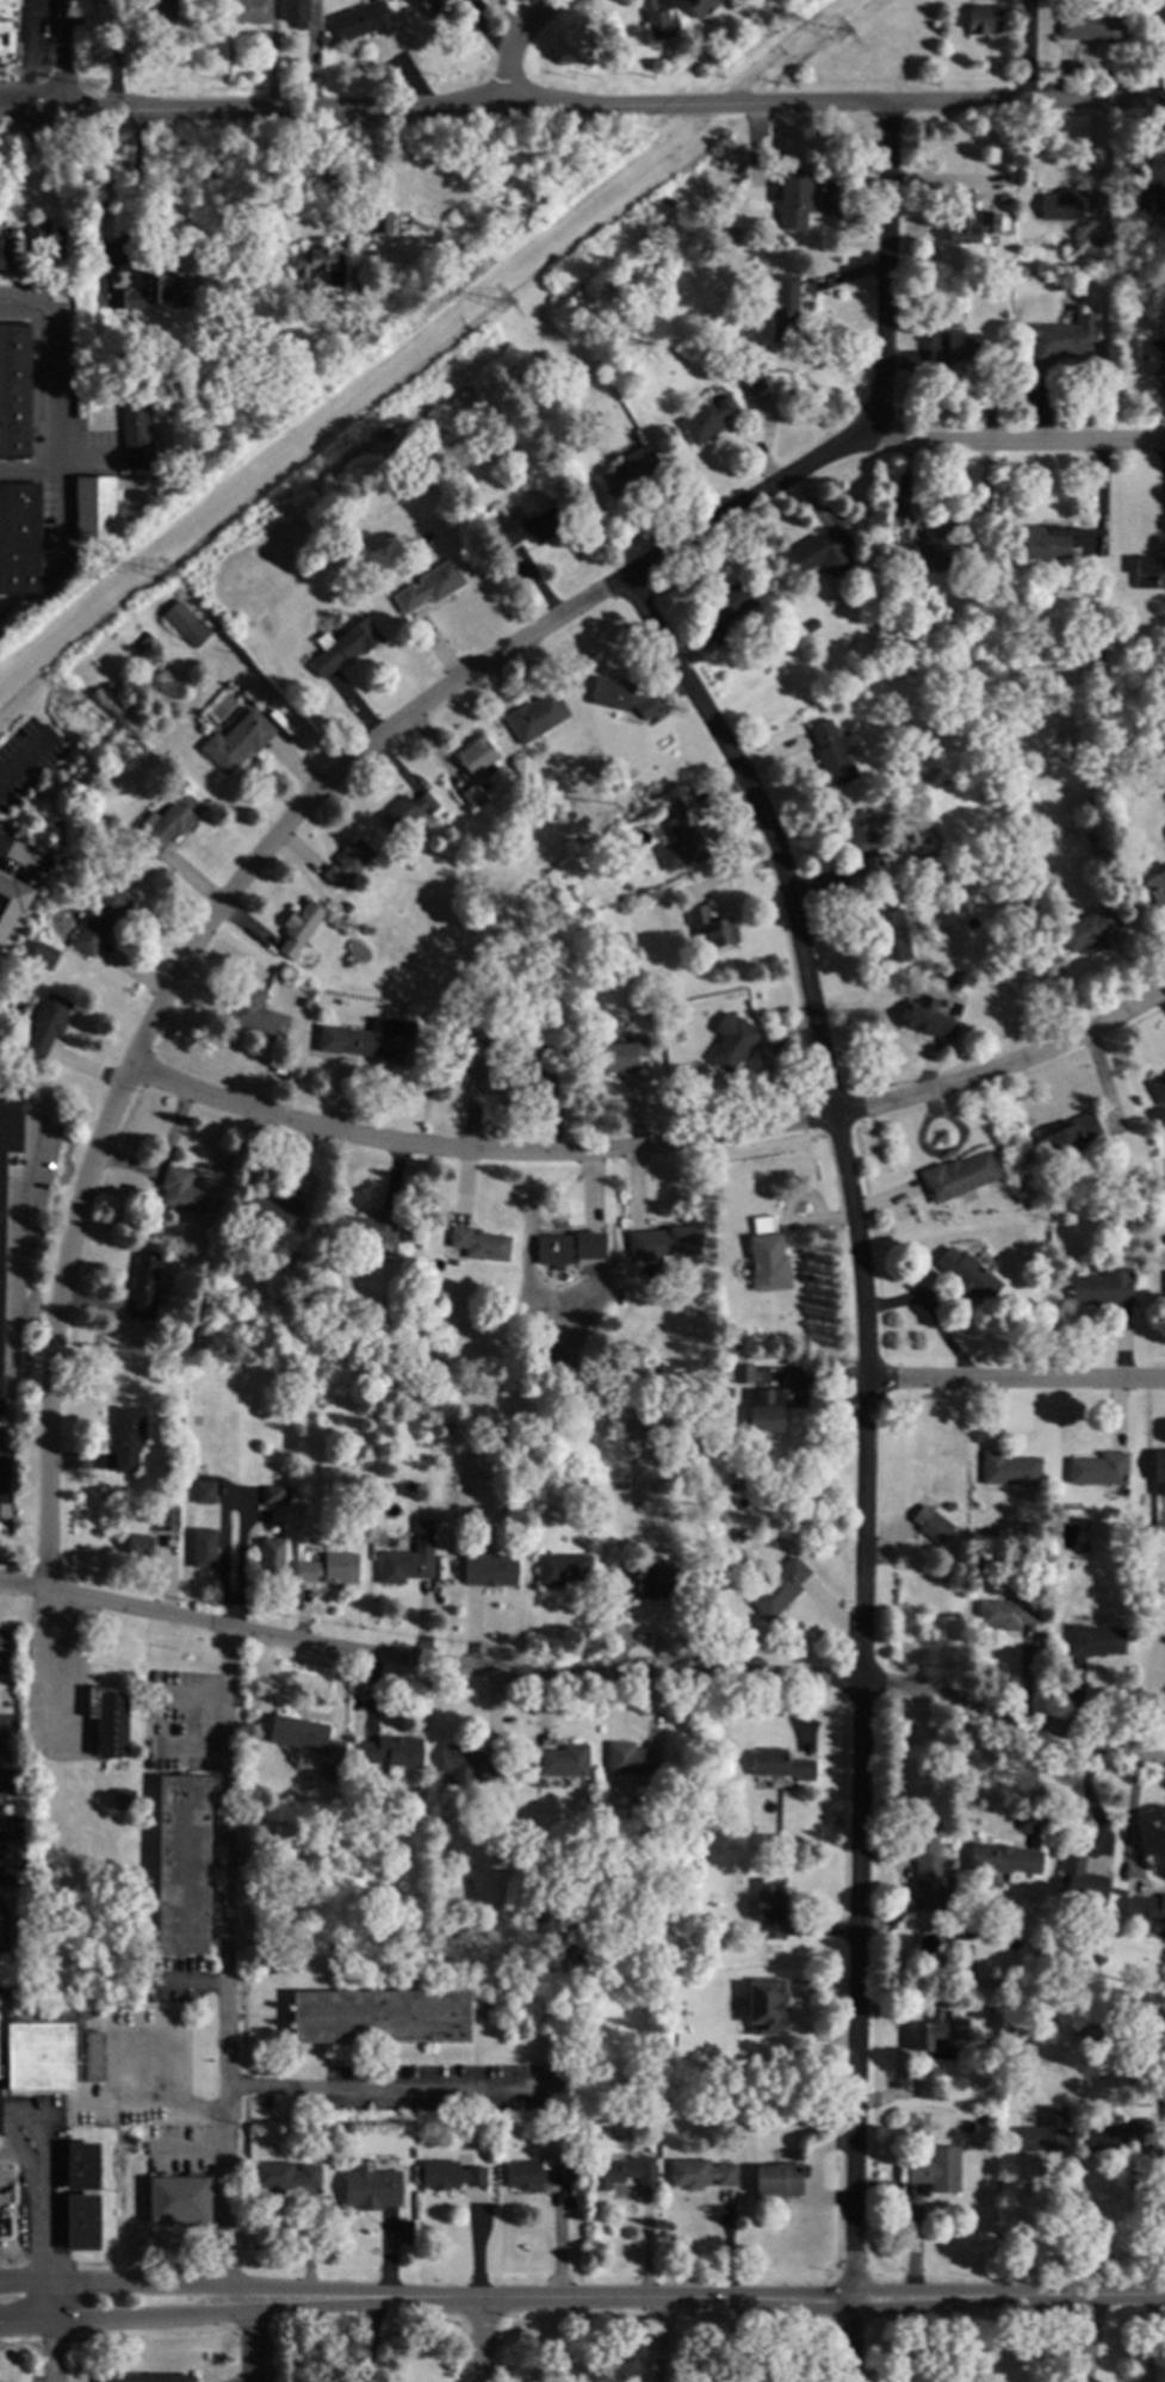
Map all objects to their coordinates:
building: (698, 6)
building: (429, 7)
building: (159, 11)
building: (250, 11)
building: (296, 12)
building: (1160, 16)
building: (656, 18)
building: (984, 18)
building: (360, 20)
building: (1087, 24)
building: (7, 26)
power tower: (842, 29)
road: (510, 42)
road: (1027, 50)
road: (58, 55)
road: (582, 103)
road: (374, 166)
building: (1003, 197)
building: (794, 198)
building: (1148, 198)
road: (129, 199)
building: (1068, 204)
building: (382, 221)
building: (969, 221)
building: (646, 234)
building: (49, 239)
building: (1096, 242)
building: (5, 264)
building: (320, 264)
road: (884, 266)
building: (972, 286)
building: (148, 290)
power tower: (508, 303)
building: (785, 309)
building: (1062, 338)
building: (950, 347)
building: (1151, 357)
building: (95, 369)
building: (751, 380)
building: (14, 390)
road: (62, 404)
building: (707, 420)
building: (136, 432)
building: (385, 434)
road: (1010, 441)
road: (1164, 453)
road: (55, 465)
building: (631, 465)
building: (888, 466)
road: (900, 477)
road: (812, 497)
road: (1101, 499)
building: (497, 507)
building: (93, 508)
road: (978, 511)
building: (124, 518)
building: (528, 526)
building: (19, 538)
building: (1048, 540)
building: (931, 550)
building: (820, 552)
building: (1149, 571)
power tower: (172, 574)
building: (429, 586)
building: (727, 608)
building: (178, 611)
building: (234, 625)
building: (810, 625)
building: (194, 631)
building: (342, 645)
building: (1097, 646)
building: (899, 651)
building: (1161, 663)
building: (620, 695)
road: (439, 698)
building: (535, 716)
building: (236, 741)
building: (831, 754)
road: (17, 756)
building: (478, 756)
building: (686, 788)
building: (473, 794)
building: (1090, 802)
building: (407, 810)
building: (611, 818)
building: (110, 821)
building: (167, 823)
building: (58, 828)
building: (614, 836)
building: (1092, 836)
building: (680, 839)
building: (865, 841)
building: (348, 861)
building: (1155, 886)
building: (11, 901)
building: (101, 921)
building: (334, 921)
building: (711, 926)
building: (299, 927)
building: (1087, 927)
building: (890, 932)
building: (42, 955)
building: (585, 975)
building: (946, 1002)
building: (531, 1003)
building: (956, 1008)
building: (258, 1013)
building: (924, 1016)
building: (47, 1023)
building: (376, 1039)
building: (481, 1041)
building: (733, 1044)
building: (624, 1053)
building: (464, 1058)
building: (543, 1062)
road: (768, 1063)
building: (1158, 1088)
building: (1071, 1134)
road: (651, 1153)
road: (161, 1162)
building: (958, 1175)
building: (181, 1190)
building: (269, 1212)
building: (365, 1226)
building: (479, 1243)
building: (662, 1245)
building: (569, 1248)
road: (19, 1256)
building: (767, 1256)
building: (967, 1275)
building: (1164, 1277)
building: (144, 1285)
building: (1, 1286)
building: (1102, 1287)
building: (297, 1292)
road: (52, 1329)
building: (751, 1335)
building: (730, 1347)
building: (529, 1351)
building: (651, 1371)
building: (628, 1372)
building: (742, 1373)
building: (725, 1374)
road: (1014, 1375)
building: (346, 1386)
building: (725, 1391)
building: (441, 1404)
building: (764, 1409)
building: (175, 1419)
building: (128, 1437)
building: (178, 1440)
road: (863, 1454)
building: (1159, 1465)
building: (199, 1468)
building: (1009, 1468)
building: (1098, 1468)
road: (5, 1483)
building: (204, 1491)
building: (922, 1492)
building: (274, 1493)
building: (167, 1518)
building: (930, 1523)
building: (997, 1529)
building: (140, 1545)
building: (204, 1547)
building: (1083, 1549)
building: (271, 1559)
building: (407, 1561)
building: (1067, 1565)
building: (329, 1567)
building: (562, 1567)
building: (489, 1569)
building: (659, 1582)
building: (777, 1586)
building: (1006, 1613)
building: (1093, 1640)
road: (584, 1654)
building: (111, 1720)
building: (305, 1737)
building: (392, 1751)
building: (492, 1757)
building: (630, 1758)
building: (563, 1761)
building: (531, 1762)
building: (460, 1763)
building: (781, 1764)
building: (123, 1800)
road: (1132, 1813)
building: (1004, 1860)
building: (182, 1863)
building: (287, 1863)
building: (925, 1875)
building: (1083, 1882)
building: (1146, 1906)
building: (770, 1907)
building: (602, 1925)
building: (966, 1935)
road: (228, 1972)
building: (1082, 2003)
building: (764, 2004)
building: (1110, 2005)
building: (985, 2011)
building: (380, 2015)
building: (938, 2034)
building: (51, 2049)
building: (929, 2083)
building: (655, 2085)
building: (1155, 2085)
road: (391, 2090)
road: (153, 2103)
road: (19, 2120)
building: (987, 2121)
building: (751, 2126)
building: (1043, 2132)
building: (1115, 2134)
road: (11, 2157)
building: (81, 2165)
building: (936, 2170)
parking lot: (37, 2171)
building: (622, 2171)
building: (537, 2172)
building: (700, 2173)
building: (450, 2174)
building: (284, 2176)
road: (26, 2179)
building: (777, 2179)
building: (371, 2186)
building: (179, 2198)
parking lot: (5, 2205)
building: (82, 2221)
road: (1016, 2225)
road: (1154, 2225)
road: (42, 2251)
road: (200, 2285)
road: (782, 2299)
road: (200, 2315)
road: (254, 2334)
road: (373, 2334)
road: (481, 2340)
road: (657, 2340)
building: (145, 2377)

